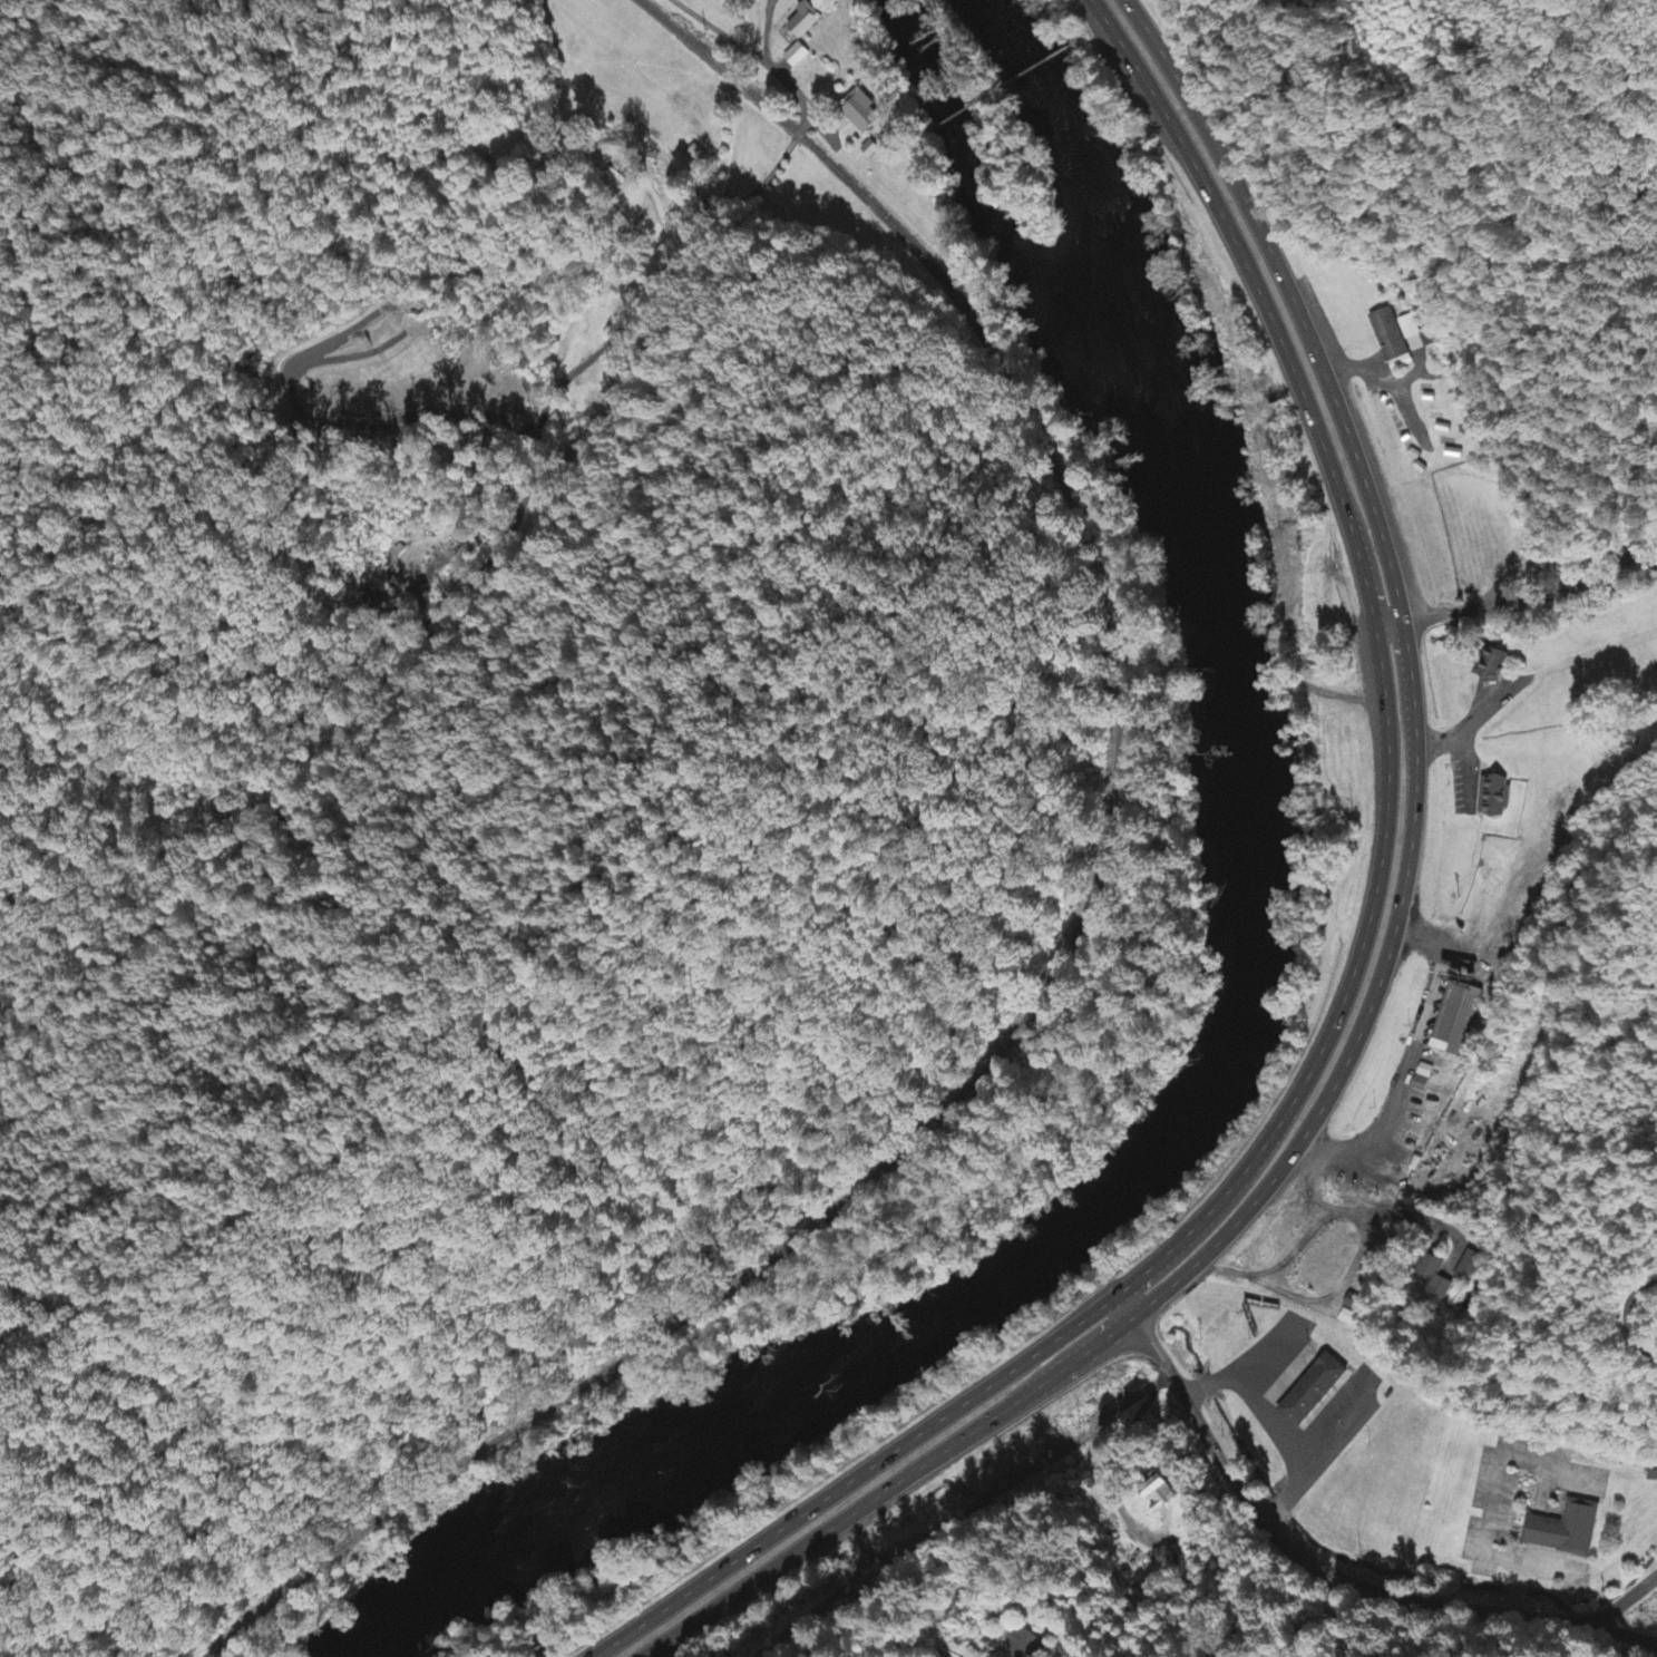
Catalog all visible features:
building: (807, 21)
road: (1099, 36)
building: (798, 56)
road: (1006, 84)
building: (862, 114)
road: (862, 167)
river: (984, 185)
building: (1397, 339)
river: (1193, 496)
road: (485, 566)
road: (1514, 582)
building: (1493, 663)
building: (1495, 796)
river: (1259, 936)
railway: (1059, 947)
road: (1381, 967)
road: (1352, 972)
building: (1455, 1018)
building: (1423, 1079)
road: (1482, 1159)
building: (1468, 1267)
building: (1431, 1286)
building: (1354, 1305)
building: (1315, 1392)
river: (735, 1414)
road: (1540, 1484)
building: (1159, 1495)
road: (1492, 1501)
building: (1565, 1524)
road: (1532, 1526)
road: (1527, 1551)
road: (1319, 1569)
road: (1512, 1589)
road: (823, 1598)
road: (1630, 1600)
road: (1297, 1628)
road: (887, 1640)
building: (1021, 1645)

